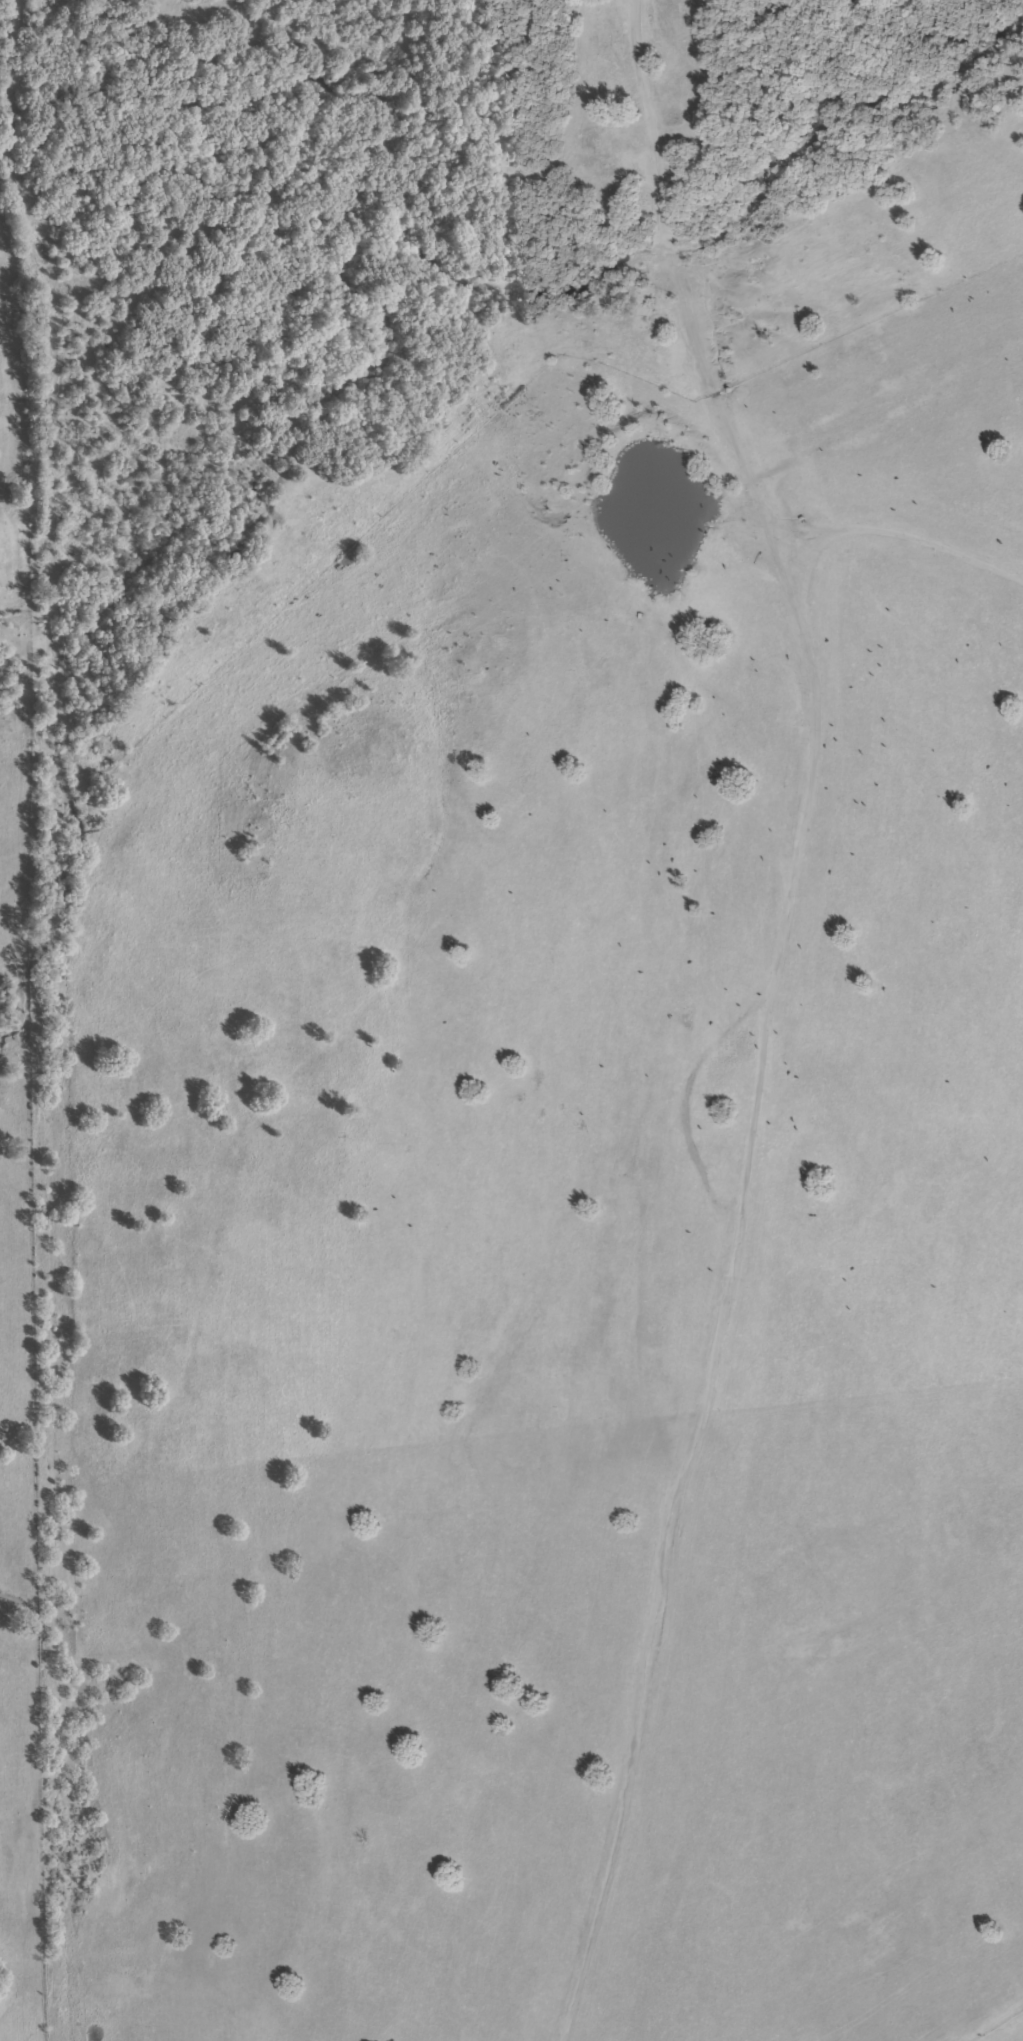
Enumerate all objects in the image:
road: (899, 541)
road: (736, 1019)

